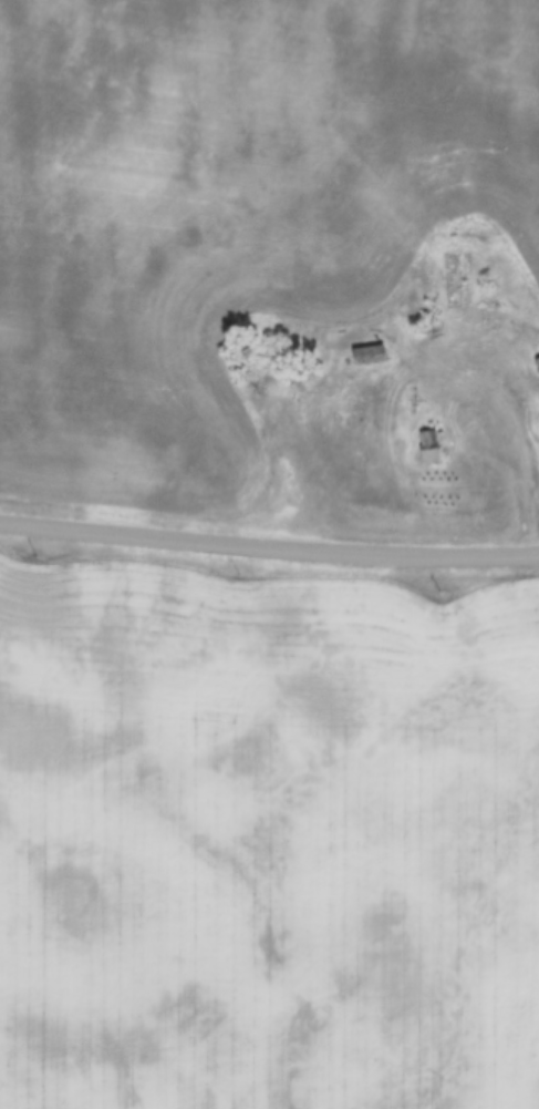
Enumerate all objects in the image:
building: (369, 357)
road: (514, 397)
building: (429, 449)
road: (269, 544)

